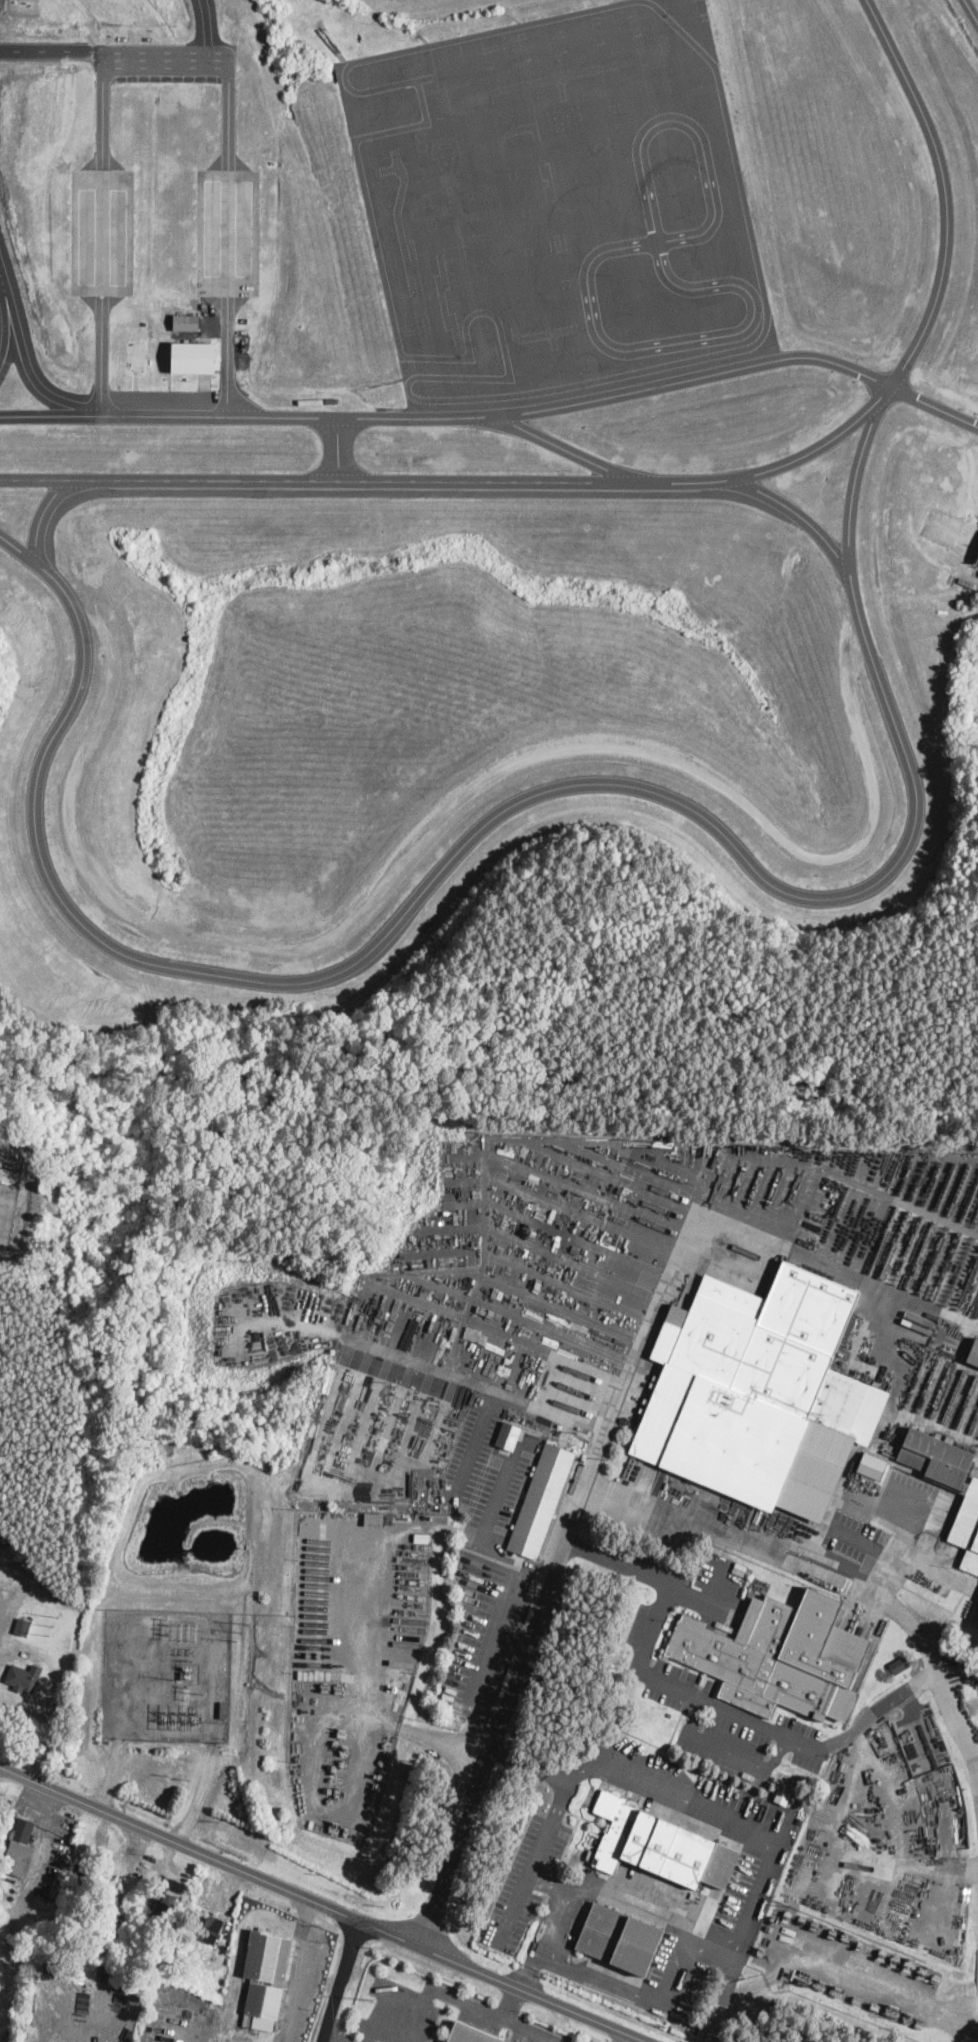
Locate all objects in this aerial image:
road: (970, 12)
road: (209, 32)
road: (58, 49)
road: (164, 65)
road: (1, 273)
road: (14, 316)
building: (186, 321)
building: (209, 357)
road: (498, 412)
road: (563, 446)
road: (333, 447)
road: (666, 480)
road: (795, 510)
road: (42, 513)
building: (977, 559)
road: (494, 815)
building: (974, 1354)
building: (760, 1394)
building: (508, 1436)
road: (601, 1444)
building: (872, 1466)
building: (943, 1480)
building: (541, 1500)
building: (373, 1517)
road: (733, 1534)
building: (421, 1536)
road: (863, 1542)
road: (897, 1550)
road: (659, 1582)
power tower: (51, 1625)
building: (22, 1629)
power tower: (186, 1630)
power tower: (242, 1632)
building: (779, 1657)
building: (900, 1665)
building: (27, 1673)
power substation: (164, 1675)
road: (949, 1700)
building: (224, 1710)
road: (750, 1720)
road: (727, 1750)
building: (781, 1795)
road: (753, 1827)
building: (660, 1845)
building: (18, 1846)
road: (526, 1880)
building: (168, 1902)
road: (322, 1902)
road: (553, 1921)
building: (205, 1926)
building: (618, 1937)
road: (299, 1970)
building: (265, 1974)
road: (340, 1980)
road: (386, 1996)
power tower: (372, 1998)
road: (468, 2003)
road: (510, 2003)
building: (466, 2034)
road: (336, 2035)
road: (621, 2037)
building: (496, 2040)

